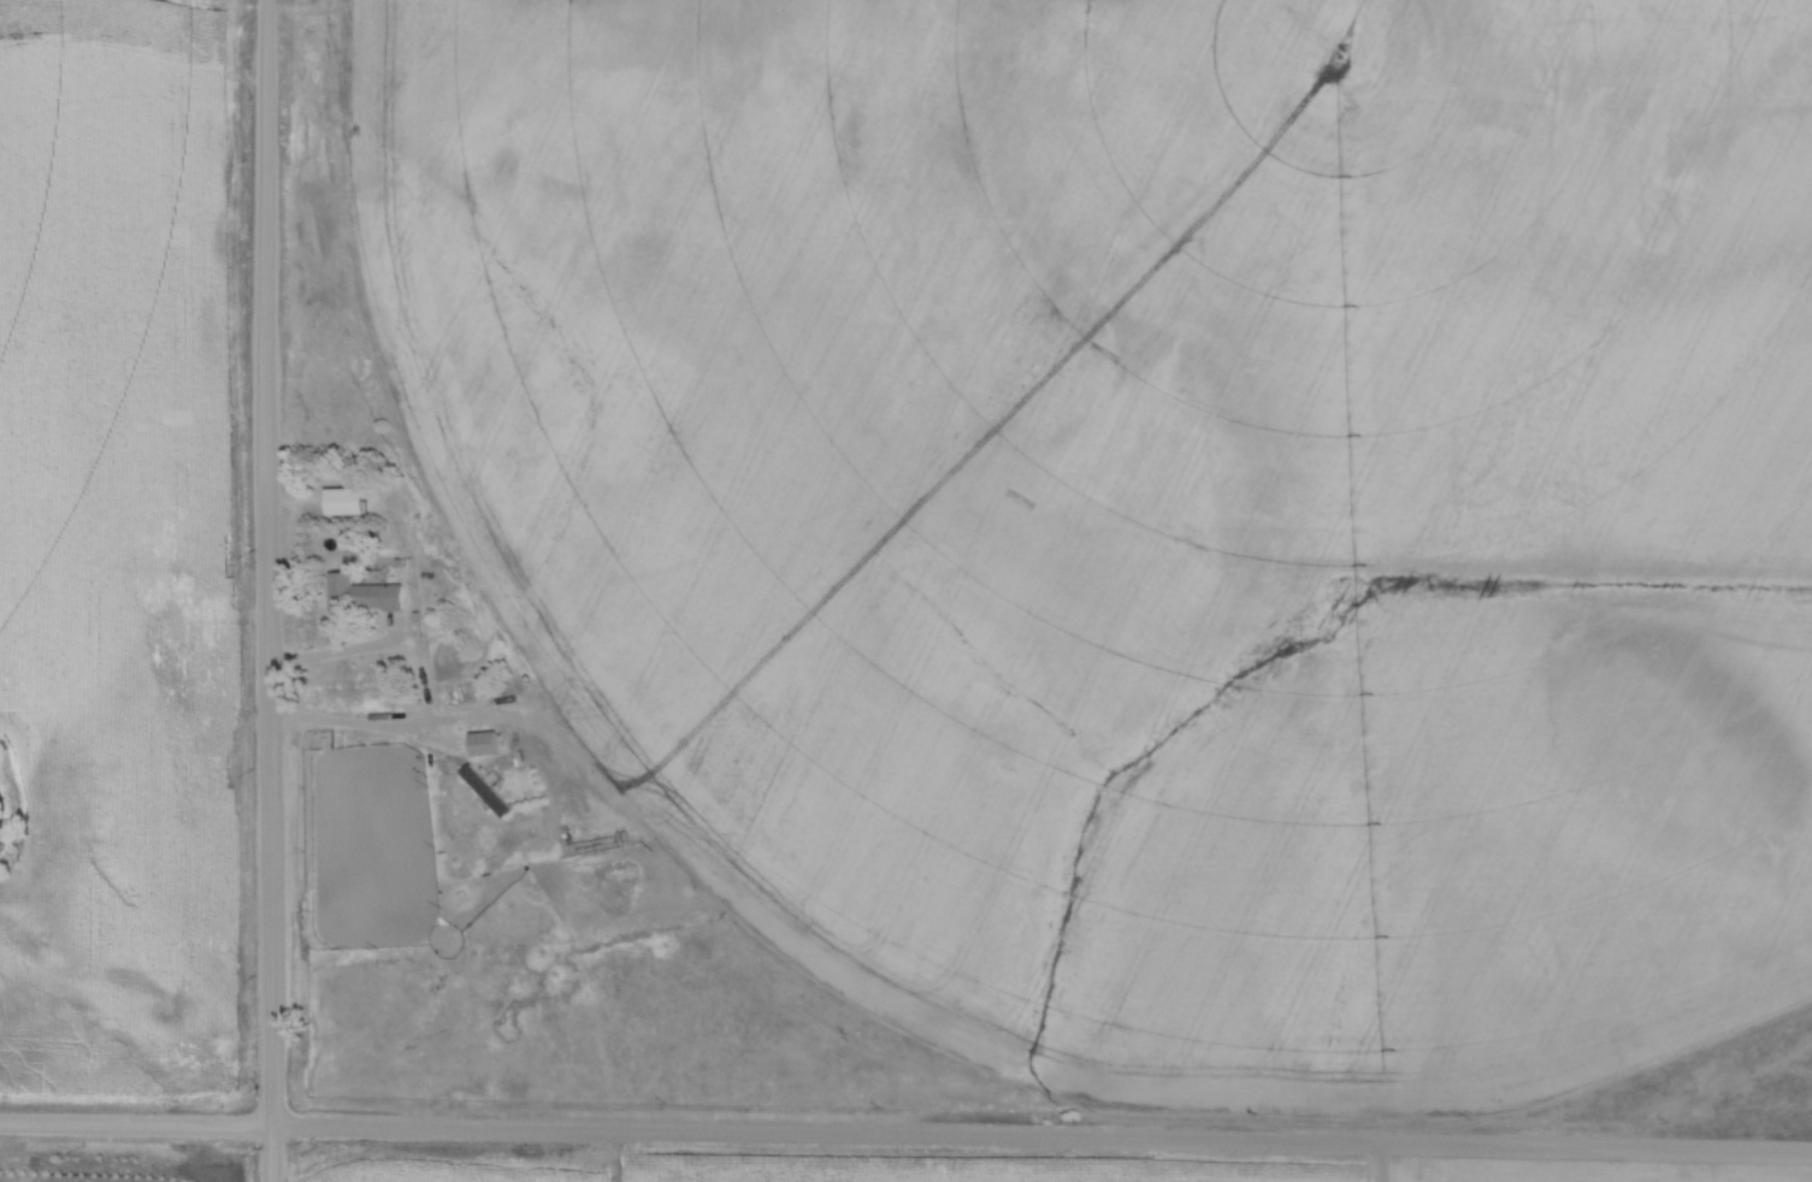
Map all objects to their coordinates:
building: (340, 502)
road: (271, 590)
building: (371, 597)
building: (373, 703)
building: (482, 792)
road: (136, 1131)
road: (1043, 1140)

